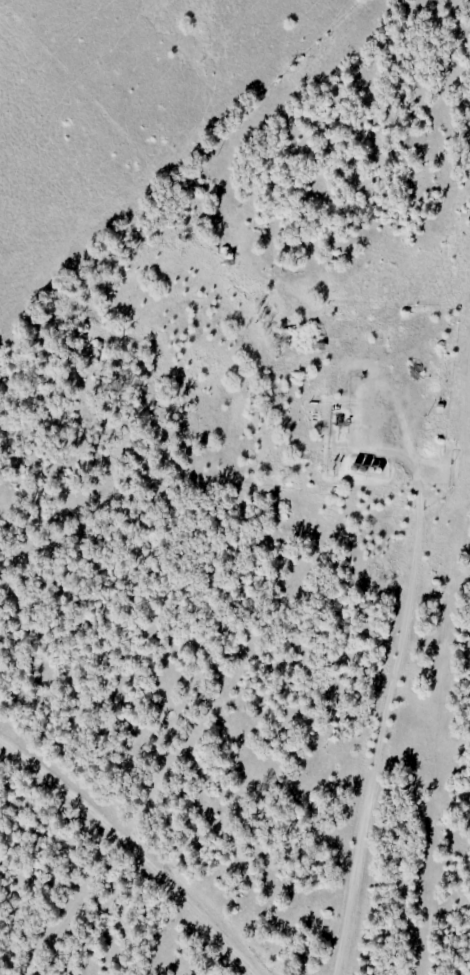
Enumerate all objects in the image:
road: (112, 852)

